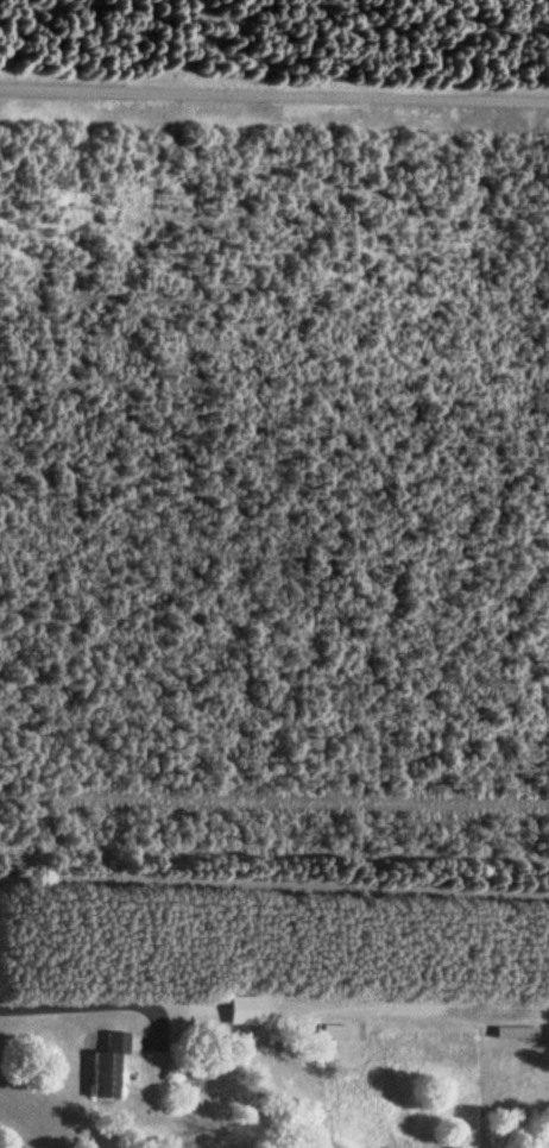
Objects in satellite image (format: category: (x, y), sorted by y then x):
road: (78, 1004)
building: (248, 1008)
road: (185, 1009)
road: (159, 1031)
road: (137, 1040)
building: (111, 1062)

